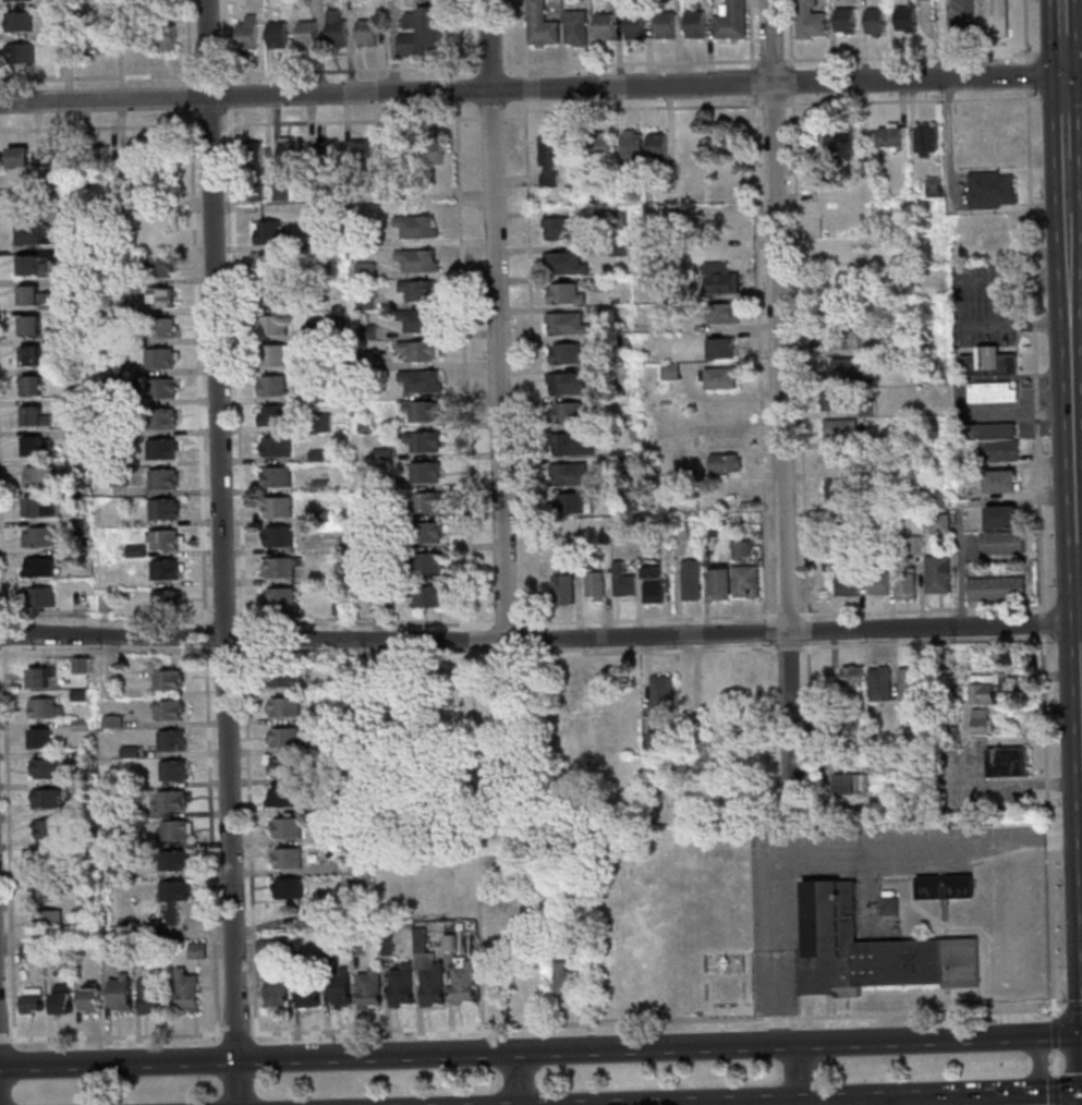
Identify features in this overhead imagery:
building: (12, 0)
building: (60, 3)
building: (113, 3)
building: (613, 4)
building: (903, 16)
building: (989, 19)
building: (806, 20)
building: (842, 20)
building: (16, 21)
building: (729, 21)
building: (872, 21)
building: (633, 24)
building: (664, 24)
building: (693, 24)
building: (539, 25)
building: (603, 26)
building: (573, 27)
building: (60, 28)
building: (335, 29)
building: (245, 33)
building: (305, 33)
building: (365, 33)
building: (418, 33)
building: (275, 35)
building: (163, 37)
road: (1061, 37)
building: (133, 38)
building: (104, 39)
road: (940, 39)
building: (62, 48)
road: (1054, 50)
building: (19, 52)
traffic signals: (1062, 75)
road: (540, 88)
road: (1063, 116)
road: (946, 130)
building: (887, 136)
building: (923, 139)
building: (837, 144)
building: (630, 146)
building: (655, 146)
building: (599, 148)
building: (391, 149)
building: (431, 150)
building: (323, 151)
building: (287, 153)
building: (360, 154)
building: (50, 155)
building: (16, 156)
building: (252, 156)
building: (133, 157)
building: (97, 158)
building: (548, 158)
building: (826, 174)
building: (619, 177)
building: (667, 179)
building: (931, 184)
building: (37, 185)
building: (987, 190)
building: (279, 191)
building: (255, 193)
building: (5, 194)
building: (68, 219)
building: (613, 219)
building: (414, 227)
building: (561, 228)
building: (266, 232)
building: (33, 234)
building: (329, 241)
building: (990, 242)
building: (834, 247)
building: (617, 251)
building: (65, 252)
building: (962, 256)
building: (883, 258)
building: (415, 260)
building: (562, 263)
building: (28, 265)
building: (266, 265)
building: (155, 267)
building: (364, 270)
building: (718, 279)
building: (68, 281)
building: (601, 283)
building: (416, 290)
building: (563, 293)
building: (32, 295)
building: (267, 295)
building: (159, 297)
building: (364, 301)
parking lot: (984, 304)
road: (1001, 304)
building: (601, 311)
building: (69, 312)
building: (721, 313)
road: (496, 319)
building: (417, 321)
building: (564, 323)
building: (28, 325)
building: (270, 325)
building: (159, 327)
building: (328, 329)
building: (137, 330)
building: (365, 331)
building: (120, 339)
building: (842, 339)
building: (65, 342)
building: (618, 344)
building: (718, 348)
building: (885, 349)
building: (416, 350)
road: (1033, 350)
building: (566, 354)
building: (27, 355)
building: (272, 355)
building: (157, 357)
building: (362, 359)
building: (321, 363)
building: (985, 363)
building: (843, 368)
building: (124, 369)
building: (669, 372)
building: (609, 374)
building: (69, 375)
building: (717, 377)
building: (418, 380)
building: (566, 382)
building: (29, 385)
building: (109, 386)
building: (269, 386)
building: (158, 388)
building: (367, 388)
building: (989, 392)
building: (831, 400)
building: (71, 402)
road: (779, 404)
building: (865, 408)
building: (418, 412)
building: (567, 413)
building: (353, 414)
building: (270, 415)
building: (32, 416)
building: (159, 418)
building: (319, 422)
building: (364, 427)
building: (839, 430)
building: (990, 432)
building: (72, 433)
building: (421, 441)
building: (569, 445)
building: (29, 446)
building: (273, 447)
building: (159, 448)
building: (82, 450)
building: (994, 451)
building: (380, 453)
building: (315, 456)
building: (117, 459)
building: (623, 461)
building: (72, 462)
building: (722, 463)
building: (422, 472)
road: (1073, 472)
building: (569, 474)
building: (37, 475)
building: (960, 475)
building: (275, 477)
building: (160, 478)
building: (117, 479)
building: (998, 482)
building: (389, 484)
building: (318, 485)
building: (835, 493)
building: (71, 495)
building: (425, 502)
building: (570, 503)
building: (36, 507)
building: (276, 507)
building: (161, 509)
building: (366, 511)
building: (318, 515)
building: (999, 517)
building: (937, 524)
building: (75, 525)
building: (708, 527)
building: (658, 531)
building: (678, 531)
building: (423, 532)
building: (276, 536)
building: (603, 536)
building: (36, 537)
building: (161, 539)
building: (1000, 543)
building: (367, 545)
building: (913, 545)
building: (739, 548)
building: (134, 550)
road: (220, 552)
building: (71, 554)
building: (424, 562)
building: (36, 567)
building: (279, 567)
road: (1079, 568)
building: (163, 569)
building: (935, 574)
building: (689, 580)
building: (620, 581)
building: (651, 581)
building: (717, 581)
building: (744, 581)
building: (846, 583)
building: (876, 583)
building: (903, 584)
building: (593, 585)
building: (560, 587)
building: (994, 588)
building: (425, 595)
building: (38, 597)
building: (278, 597)
building: (163, 600)
building: (102, 604)
building: (376, 604)
road: (919, 609)
building: (341, 611)
road: (791, 614)
road: (1042, 626)
road: (470, 627)
road: (791, 632)
road: (252, 639)
road: (470, 640)
road: (242, 642)
road: (780, 647)
road: (229, 652)
road: (269, 653)
road: (570, 653)
building: (76, 665)
building: (287, 676)
building: (849, 677)
building: (36, 678)
building: (166, 679)
building: (721, 684)
building: (878, 684)
building: (908, 684)
building: (983, 689)
building: (661, 693)
building: (77, 694)
building: (281, 707)
building: (42, 708)
building: (167, 709)
building: (110, 721)
building: (981, 722)
building: (77, 725)
building: (684, 726)
building: (826, 730)
building: (939, 730)
building: (919, 732)
building: (288, 737)
building: (37, 738)
building: (169, 741)
building: (654, 741)
building: (318, 746)
building: (126, 752)
building: (80, 755)
building: (886, 763)
building: (1006, 763)
building: (283, 767)
building: (42, 768)
building: (171, 770)
building: (81, 785)
building: (850, 785)
park: (493, 793)
building: (281, 798)
building: (44, 799)
building: (169, 800)
building: (911, 802)
building: (678, 804)
building: (82, 815)
building: (284, 827)
road: (1047, 827)
building: (46, 828)
building: (172, 830)
road: (247, 839)
road: (830, 848)
road: (475, 851)
building: (44, 859)
building: (284, 859)
building: (171, 860)
building: (343, 865)
building: (113, 873)
building: (81, 877)
building: (943, 887)
building: (40, 888)
building: (285, 888)
building: (171, 898)
building: (83, 906)
building: (890, 907)
building: (309, 915)
building: (46, 920)
building: (459, 926)
building: (576, 932)
building: (354, 945)
building: (385, 946)
building: (264, 947)
building: (294, 947)
building: (327, 947)
building: (194, 950)
building: (870, 951)
building: (25, 952)
building: (105, 954)
building: (135, 954)
building: (47, 956)
building: (459, 969)
building: (425, 970)
building: (569, 982)
building: (398, 985)
building: (337, 987)
building: (367, 989)
building: (185, 991)
building: (275, 992)
building: (118, 993)
building: (147, 994)
building: (87, 997)
building: (306, 997)
building: (29, 1000)
building: (58, 1000)
road: (1073, 1007)
road: (655, 1020)
road: (233, 1033)
road: (1053, 1033)
road: (1055, 1034)
road: (110, 1035)
road: (514, 1053)
road: (1054, 1062)
road: (1037, 1065)
road: (799, 1073)
road: (515, 1079)
road: (1055, 1091)
road: (1069, 1091)
road: (1042, 1092)
road: (831, 1098)
road: (781, 1103)
road: (674, 1104)

